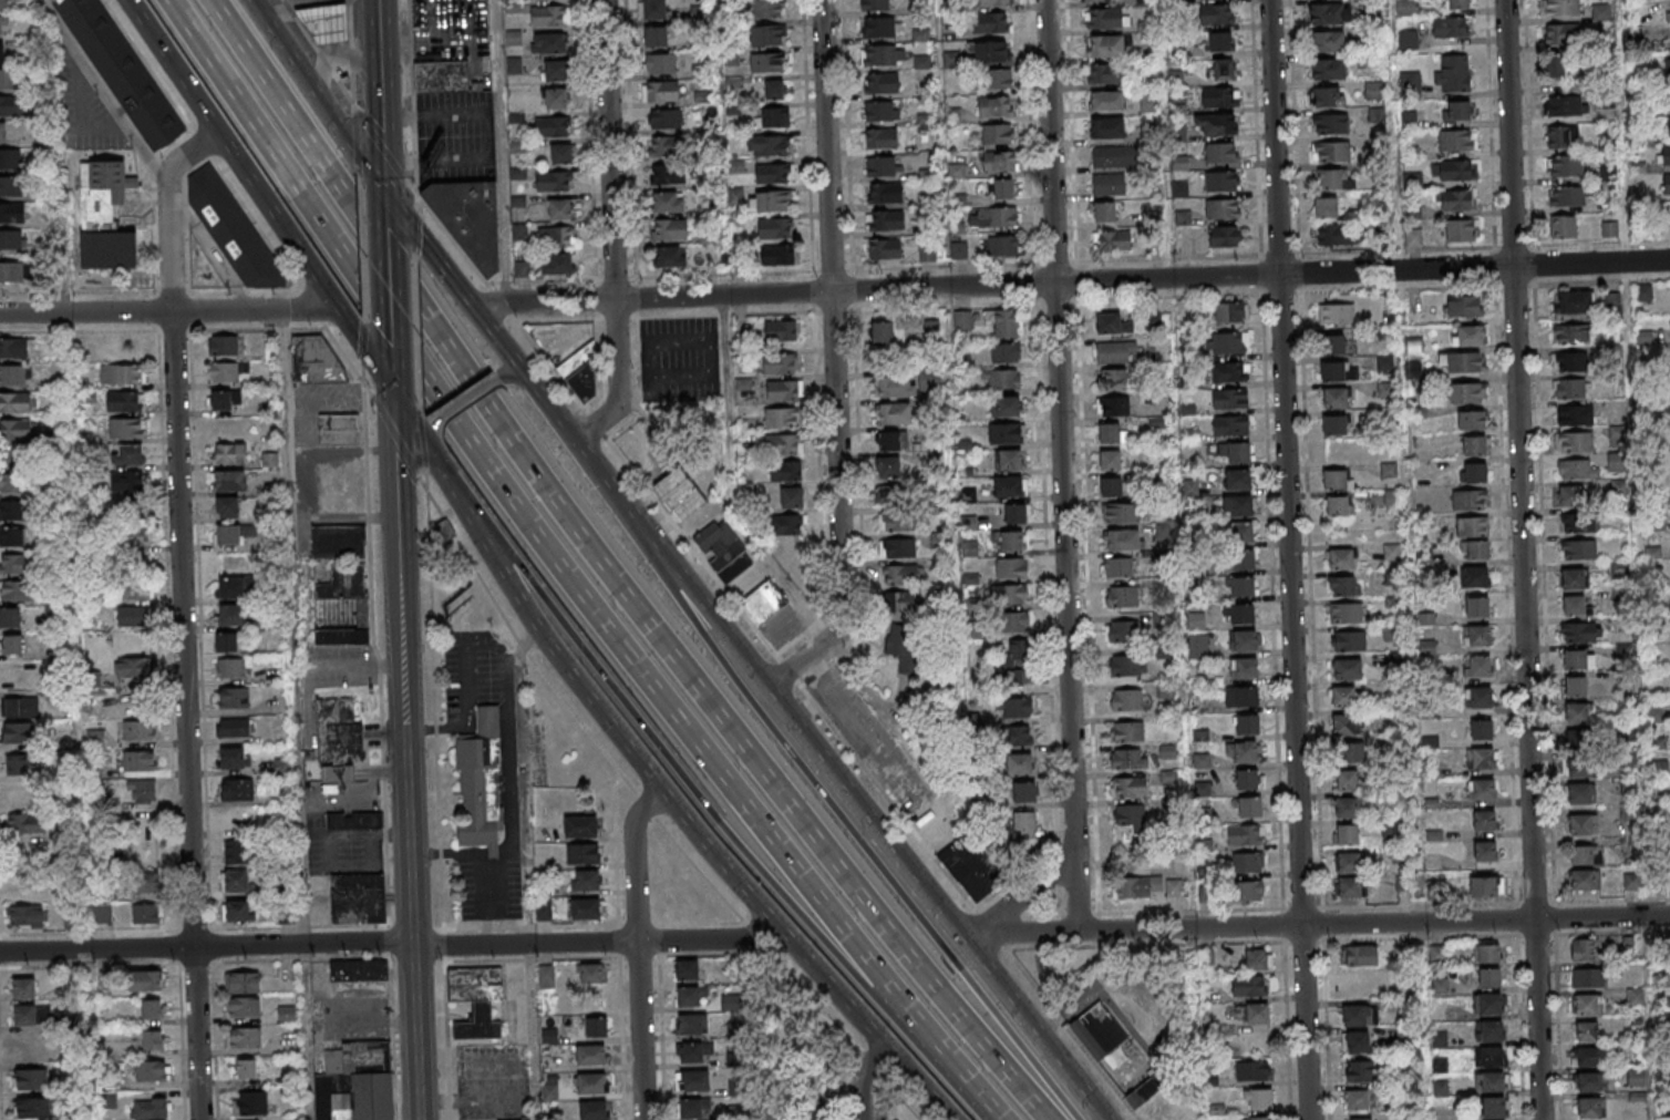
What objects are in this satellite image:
building: (55, 0)
building: (992, 2)
building: (1094, 2)
building: (875, 4)
building: (1456, 4)
building: (3, 6)
building: (1405, 7)
building: (766, 8)
building: (1560, 8)
building: (652, 9)
building: (1601, 11)
building: (1218, 13)
building: (1668, 13)
building: (549, 14)
building: (1327, 14)
building: (1103, 19)
building: (329, 21)
building: (990, 22)
building: (1, 27)
building: (882, 27)
building: (1450, 28)
building: (1561, 33)
building: (767, 34)
building: (656, 35)
building: (513, 37)
building: (1409, 40)
building: (548, 42)
building: (1220, 42)
building: (1328, 42)
building: (1105, 48)
building: (990, 51)
building: (1, 53)
building: (883, 54)
building: (767, 61)
building: (660, 63)
building: (1556, 66)
building: (1224, 69)
building: (1667, 69)
building: (556, 70)
building: (1328, 70)
building: (125, 71)
building: (1104, 74)
building: (1452, 74)
building: (442, 78)
building: (998, 79)
building: (9, 80)
building: (879, 83)
building: (1410, 84)
road: (101, 89)
building: (774, 89)
building: (1373, 90)
building: (660, 91)
building: (1219, 96)
building: (1328, 96)
building: (702, 97)
building: (556, 99)
building: (1106, 101)
building: (1667, 101)
building: (1566, 104)
building: (11, 106)
building: (994, 106)
road: (380, 109)
building: (879, 111)
building: (1457, 111)
building: (1377, 114)
building: (773, 116)
building: (664, 119)
building: (1217, 124)
building: (1330, 124)
building: (550, 126)
building: (1668, 126)
building: (1107, 129)
building: (3, 133)
building: (997, 135)
building: (1563, 135)
building: (879, 138)
building: (1456, 141)
building: (668, 146)
building: (769, 146)
building: (1223, 152)
building: (1332, 152)
building: (560, 153)
building: (1663, 154)
road: (233, 155)
building: (1115, 157)
building: (10, 160)
building: (999, 163)
building: (1565, 165)
building: (880, 166)
building: (1453, 169)
building: (774, 174)
building: (666, 175)
building: (1332, 179)
building: (551, 181)
building: (1220, 181)
building: (1666, 183)
building: (1107, 185)
building: (10, 186)
traffic signals: (384, 188)
building: (1003, 189)
building: (884, 193)
building: (1567, 196)
building: (1455, 201)
building: (772, 202)
building: (668, 203)
building: (1326, 207)
building: (558, 208)
building: (1223, 209)
building: (11, 213)
building: (1104, 213)
building: (104, 217)
building: (992, 217)
building: (470, 219)
building: (884, 219)
building: (1563, 227)
road: (610, 228)
building: (774, 228)
building: (668, 229)
building: (1460, 230)
building: (236, 232)
building: (1333, 235)
building: (556, 236)
building: (1223, 237)
building: (11, 239)
building: (1112, 240)
road: (431, 246)
building: (1002, 246)
building: (884, 248)
building: (959, 250)
building: (927, 253)
building: (780, 255)
building: (669, 257)
building: (556, 264)
building: (12, 273)
road: (1074, 282)
road: (388, 286)
road: (96, 291)
building: (1573, 304)
building: (1464, 307)
road: (168, 311)
building: (1229, 312)
building: (1334, 315)
building: (962, 320)
building: (1003, 323)
building: (1109, 323)
building: (932, 329)
building: (879, 331)
building: (780, 332)
building: (1573, 335)
building: (1468, 337)
building: (1229, 342)
building: (1333, 342)
building: (223, 345)
building: (13, 348)
building: (51, 350)
building: (1114, 352)
building: (1006, 353)
road: (369, 355)
building: (313, 359)
road: (834, 361)
building: (1569, 361)
building: (1463, 362)
building: (780, 364)
road: (511, 370)
building: (1231, 370)
building: (228, 371)
building: (1339, 371)
building: (16, 374)
building: (122, 376)
building: (579, 376)
road: (395, 377)
building: (1002, 379)
building: (930, 380)
building: (1112, 380)
building: (896, 387)
building: (1571, 388)
building: (783, 391)
building: (1465, 393)
building: (1336, 397)
building: (1230, 398)
building: (226, 399)
traffic signals: (400, 400)
road: (467, 400)
building: (16, 402)
building: (124, 402)
building: (1006, 405)
building: (1113, 407)
building: (893, 413)
building: (1575, 414)
building: (781, 419)
building: (1472, 420)
building: (1230, 424)
building: (1334, 424)
road: (429, 428)
building: (17, 430)
building: (125, 430)
building: (338, 430)
building: (1004, 432)
building: (1110, 433)
building: (1616, 435)
building: (891, 440)
building: (1574, 440)
building: (1474, 444)
building: (783, 445)
building: (1236, 451)
building: (228, 453)
building: (127, 455)
building: (1010, 459)
building: (269, 460)
building: (1110, 460)
building: (1616, 461)
road: (1062, 465)
building: (886, 467)
building: (1577, 469)
building: (1388, 470)
building: (785, 472)
building: (1474, 472)
building: (1238, 479)
building: (1337, 479)
building: (228, 480)
building: (13, 482)
building: (128, 483)
building: (341, 485)
building: (1009, 485)
building: (1111, 486)
building: (893, 494)
building: (679, 496)
building: (1568, 496)
building: (791, 497)
building: (1468, 499)
building: (227, 505)
building: (1238, 505)
building: (1339, 505)
building: (13, 511)
building: (1120, 512)
building: (1017, 513)
building: (897, 521)
building: (1577, 524)
building: (785, 526)
building: (1468, 526)
building: (1239, 532)
building: (234, 533)
building: (132, 534)
building: (12, 536)
road: (658, 540)
building: (938, 540)
building: (1010, 540)
building: (1122, 540)
building: (340, 541)
building: (897, 547)
building: (1476, 549)
building: (1578, 551)
building: (724, 552)
building: (1341, 558)
road: (1288, 559)
road: (1522, 559)
building: (1244, 561)
building: (16, 563)
road: (707, 563)
building: (1120, 566)
building: (1011, 567)
road: (574, 568)
road: (616, 572)
building: (904, 574)
building: (1475, 577)
building: (1574, 578)
building: (1343, 585)
building: (1241, 587)
building: (231, 588)
building: (134, 589)
building: (16, 590)
building: (1009, 593)
building: (1123, 596)
building: (900, 600)
building: (763, 604)
building: (343, 605)
building: (1576, 605)
building: (1476, 608)
building: (1347, 612)
road: (186, 614)
building: (1240, 615)
building: (230, 616)
building: (10, 617)
building: (132, 617)
building: (1162, 620)
building: (1011, 621)
building: (1196, 621)
building: (1124, 631)
building: (1579, 631)
building: (1476, 636)
building: (1243, 640)
building: (1349, 640)
building: (226, 641)
building: (13, 644)
building: (904, 646)
building: (1198, 647)
building: (1018, 657)
building: (1579, 658)
building: (1126, 666)
building: (134, 667)
building: (230, 667)
building: (1244, 667)
building: (1476, 667)
building: (1348, 668)
road: (409, 671)
building: (1575, 686)
road: (505, 687)
building: (1241, 696)
building: (1344, 696)
building: (231, 697)
building: (1477, 698)
building: (1126, 700)
building: (20, 706)
road: (514, 707)
building: (1016, 707)
building: (1576, 712)
road: (298, 715)
road: (80, 716)
building: (1247, 723)
building: (1344, 725)
building: (234, 727)
building: (1481, 729)
building: (138, 730)
building: (18, 731)
building: (1127, 732)
building: (1017, 736)
building: (338, 739)
building: (1578, 739)
road: (627, 740)
building: (1241, 751)
building: (1351, 751)
building: (882, 753)
building: (234, 758)
building: (1481, 758)
building: (1128, 759)
building: (138, 761)
building: (16, 763)
building: (1018, 763)
building: (1577, 767)
building: (1249, 778)
building: (1348, 779)
building: (481, 784)
building: (1130, 787)
building: (237, 789)
road: (687, 789)
building: (1480, 789)
building: (142, 791)
building: (1022, 793)
building: (1579, 793)
building: (1248, 806)
building: (1347, 806)
road: (837, 811)
building: (1629, 812)
building: (1130, 816)
building: (1484, 819)
building: (353, 821)
building: (143, 822)
building: (25, 823)
building: (1581, 824)
building: (580, 826)
building: (1022, 826)
building: (1245, 834)
building: (1346, 835)
building: (146, 851)
building: (1485, 851)
building: (236, 852)
building: (581, 853)
building: (1585, 855)
road: (906, 856)
building: (1248, 862)
building: (1348, 863)
road: (481, 867)
road: (526, 867)
building: (972, 870)
building: (586, 880)
building: (237, 881)
building: (1584, 881)
building: (1631, 881)
building: (144, 882)
building: (1485, 886)
building: (1137, 887)
building: (1349, 888)
building: (1250, 890)
road: (1021, 891)
building: (358, 897)
building: (584, 907)
building: (543, 910)
building: (235, 911)
building: (102, 913)
building: (145, 914)
building: (27, 916)
road: (1316, 925)
road: (393, 944)
building: (1581, 949)
road: (643, 952)
building: (1486, 955)
building: (1360, 956)
building: (1258, 958)
building: (687, 969)
building: (359, 970)
building: (589, 974)
building: (1588, 977)
building: (1489, 978)
building: (144, 980)
building: (241, 983)
building: (1250, 985)
building: (23, 987)
building: (1353, 987)
building: (688, 996)
building: (476, 1000)
building: (1487, 1004)
building: (1587, 1004)
building: (243, 1006)
building: (151, 1008)
building: (44, 1009)
building: (1258, 1013)
building: (24, 1014)
building: (286, 1014)
building: (1359, 1015)
building: (691, 1024)
building: (595, 1028)
building: (1488, 1030)
road: (421, 1031)
building: (1586, 1031)
building: (1099, 1032)
building: (244, 1037)
building: (153, 1039)
building: (31, 1040)
building: (1357, 1041)
building: (691, 1051)
building: (589, 1056)
building: (1488, 1057)
building: (1589, 1057)
building: (733, 1059)
building: (243, 1068)
building: (152, 1070)
building: (1252, 1070)
building: (1359, 1070)
building: (1636, 1077)
building: (30, 1078)
building: (692, 1080)
road: (865, 1080)
building: (357, 1081)
building: (1588, 1081)
building: (1491, 1082)
building: (590, 1083)
road: (921, 1086)
building: (550, 1089)
building: (1357, 1099)
building: (1258, 1100)
building: (249, 1102)
building: (32, 1107)
building: (150, 1108)
building: (691, 1108)
building: (1494, 1108)
building: (1589, 1108)
building: (594, 1111)
building: (738, 1112)
building: (1256, 1119)
building: (1360, 1119)

